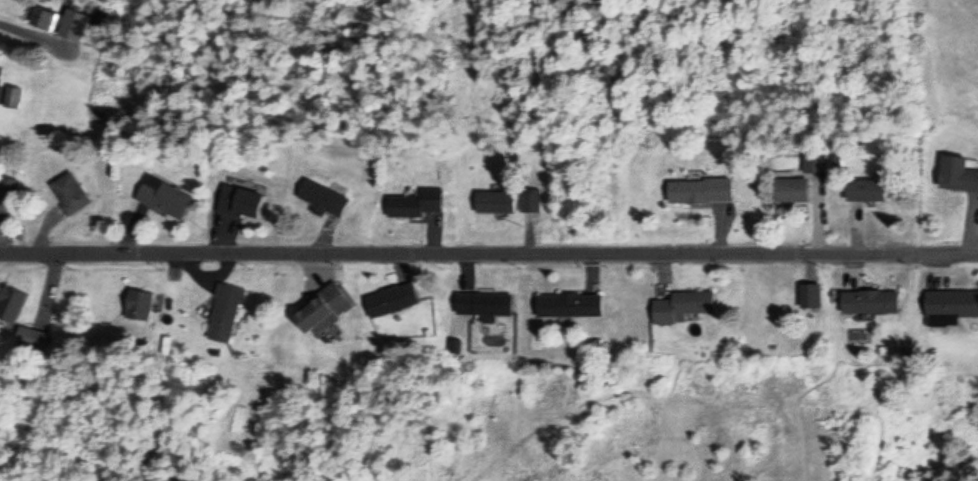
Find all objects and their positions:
building: (44, 18)
building: (73, 24)
building: (13, 95)
building: (812, 162)
building: (957, 173)
building: (791, 188)
building: (699, 189)
building: (865, 189)
building: (70, 192)
building: (8, 195)
building: (163, 196)
building: (322, 197)
building: (529, 198)
building: (239, 201)
building: (493, 201)
building: (414, 203)
road: (489, 247)
building: (390, 298)
building: (869, 301)
building: (11, 303)
building: (484, 303)
building: (138, 304)
building: (568, 304)
building: (682, 305)
building: (950, 305)
building: (322, 309)
building: (224, 312)
building: (31, 338)
road: (762, 384)
road: (648, 390)
road: (798, 399)
road: (908, 408)
road: (775, 415)
road: (858, 420)
road: (903, 422)
road: (617, 434)
road: (840, 436)
road: (645, 440)
road: (396, 443)
road: (736, 449)
road: (685, 452)

